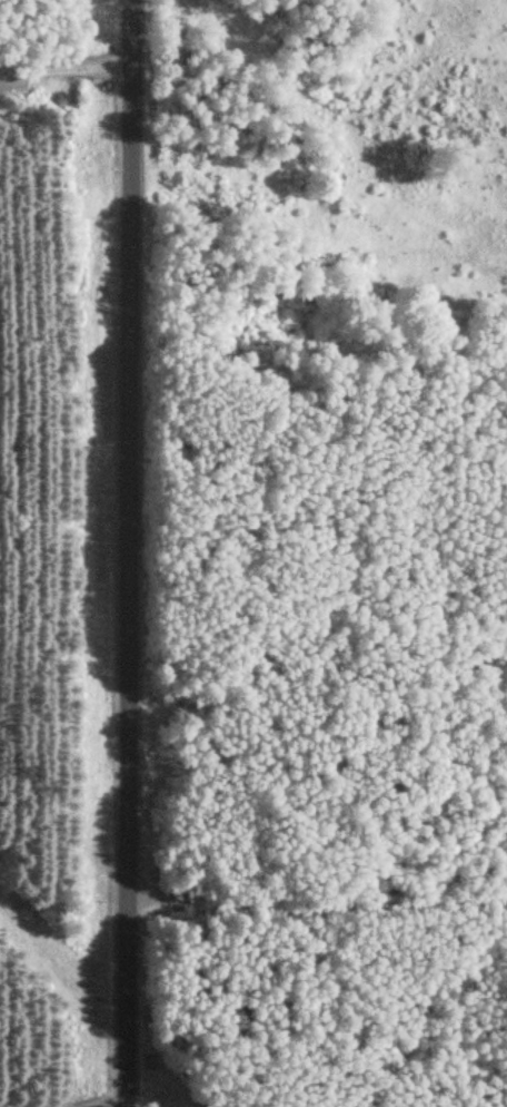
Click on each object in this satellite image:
road: (64, 69)
road: (319, 187)
road: (132, 552)
road: (318, 930)

